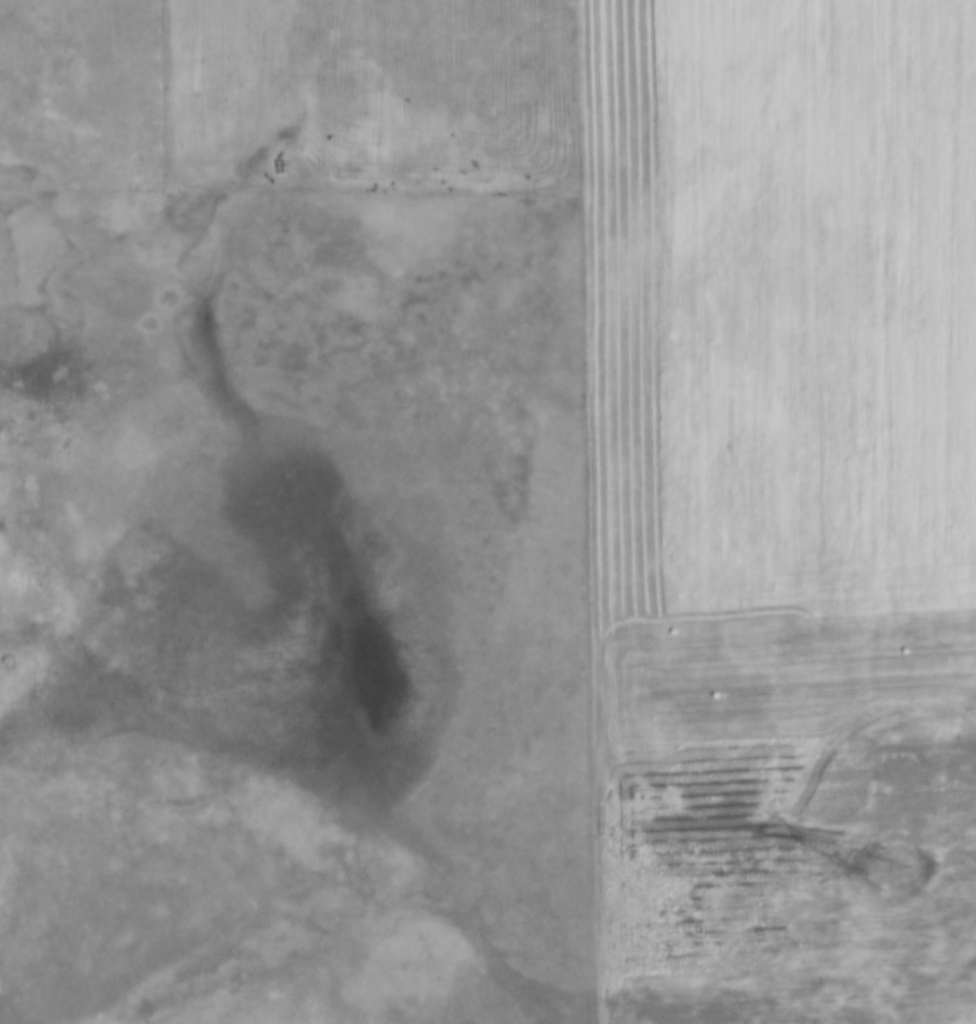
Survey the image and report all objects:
power tower: (888, 870)

